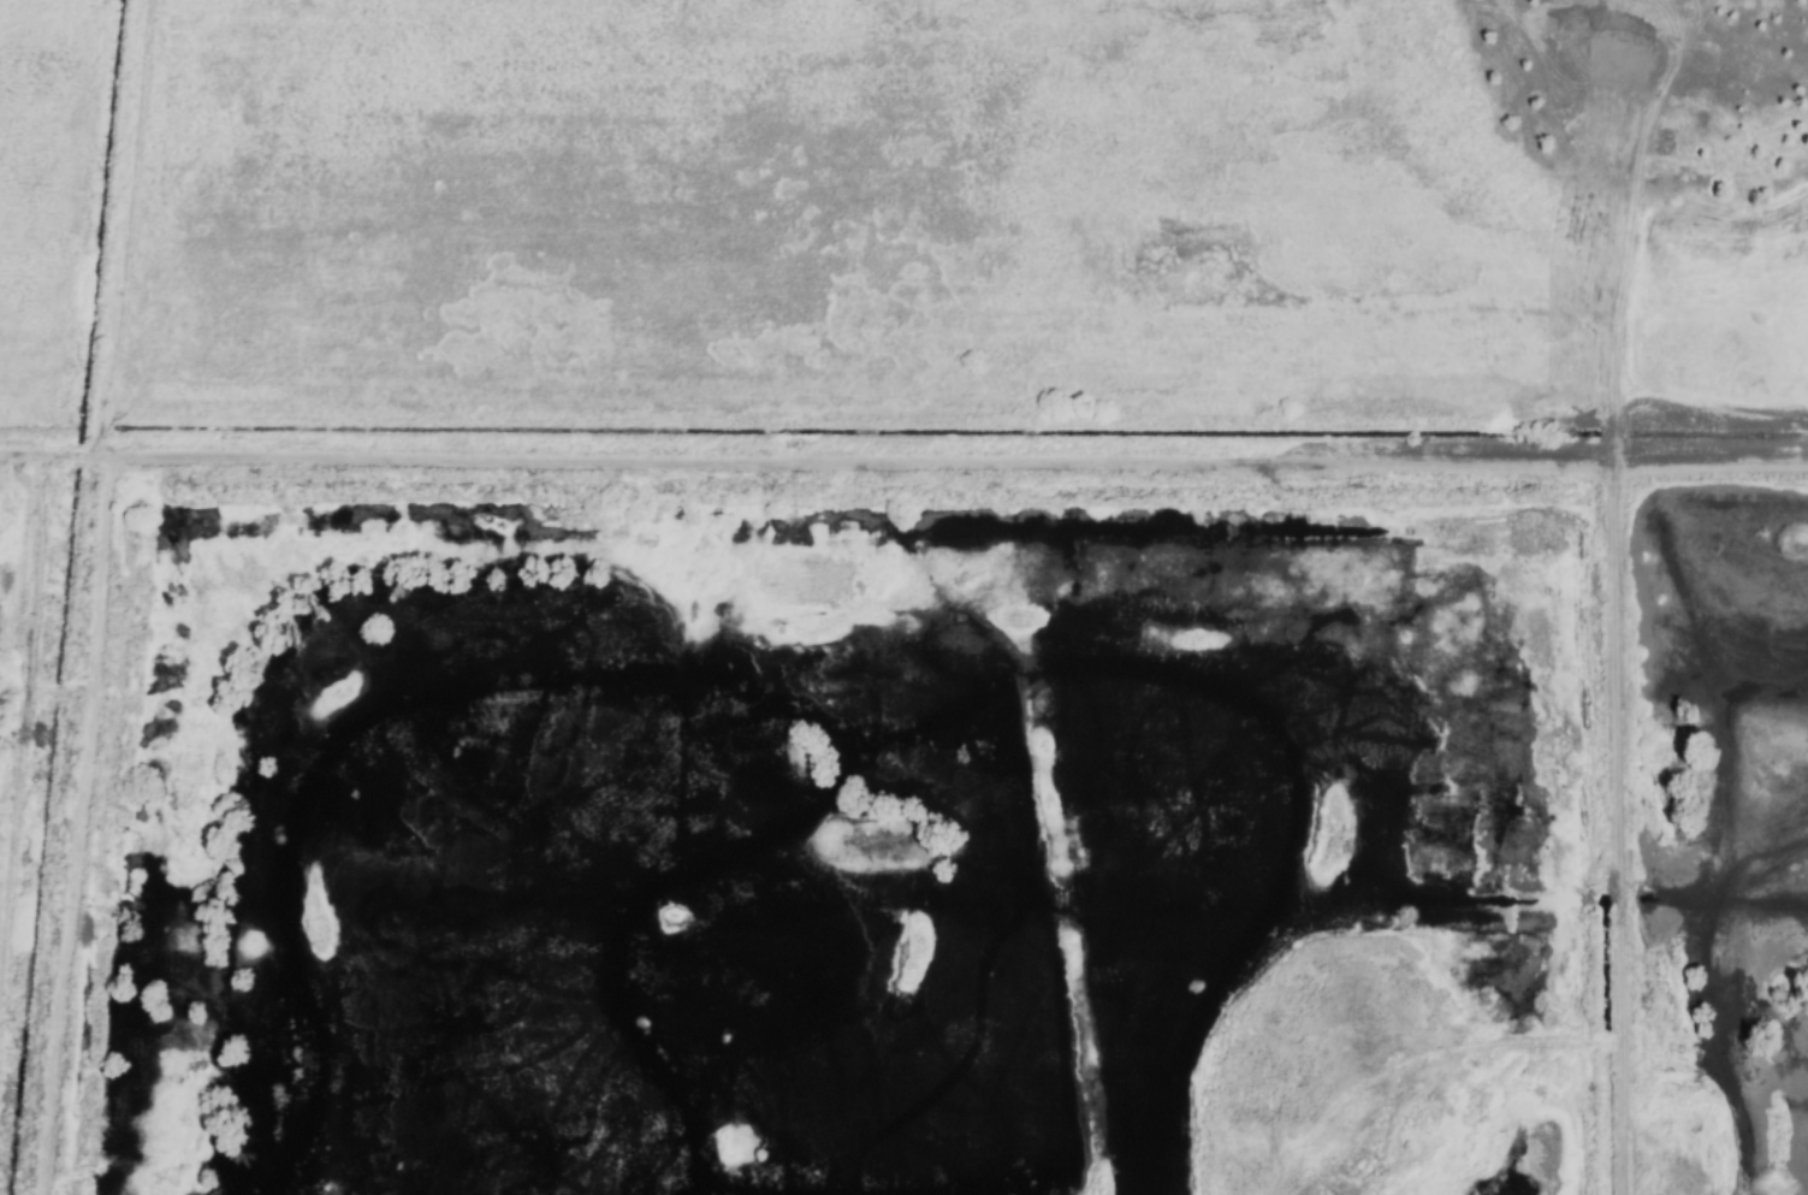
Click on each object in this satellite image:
crop: (903, 212)

